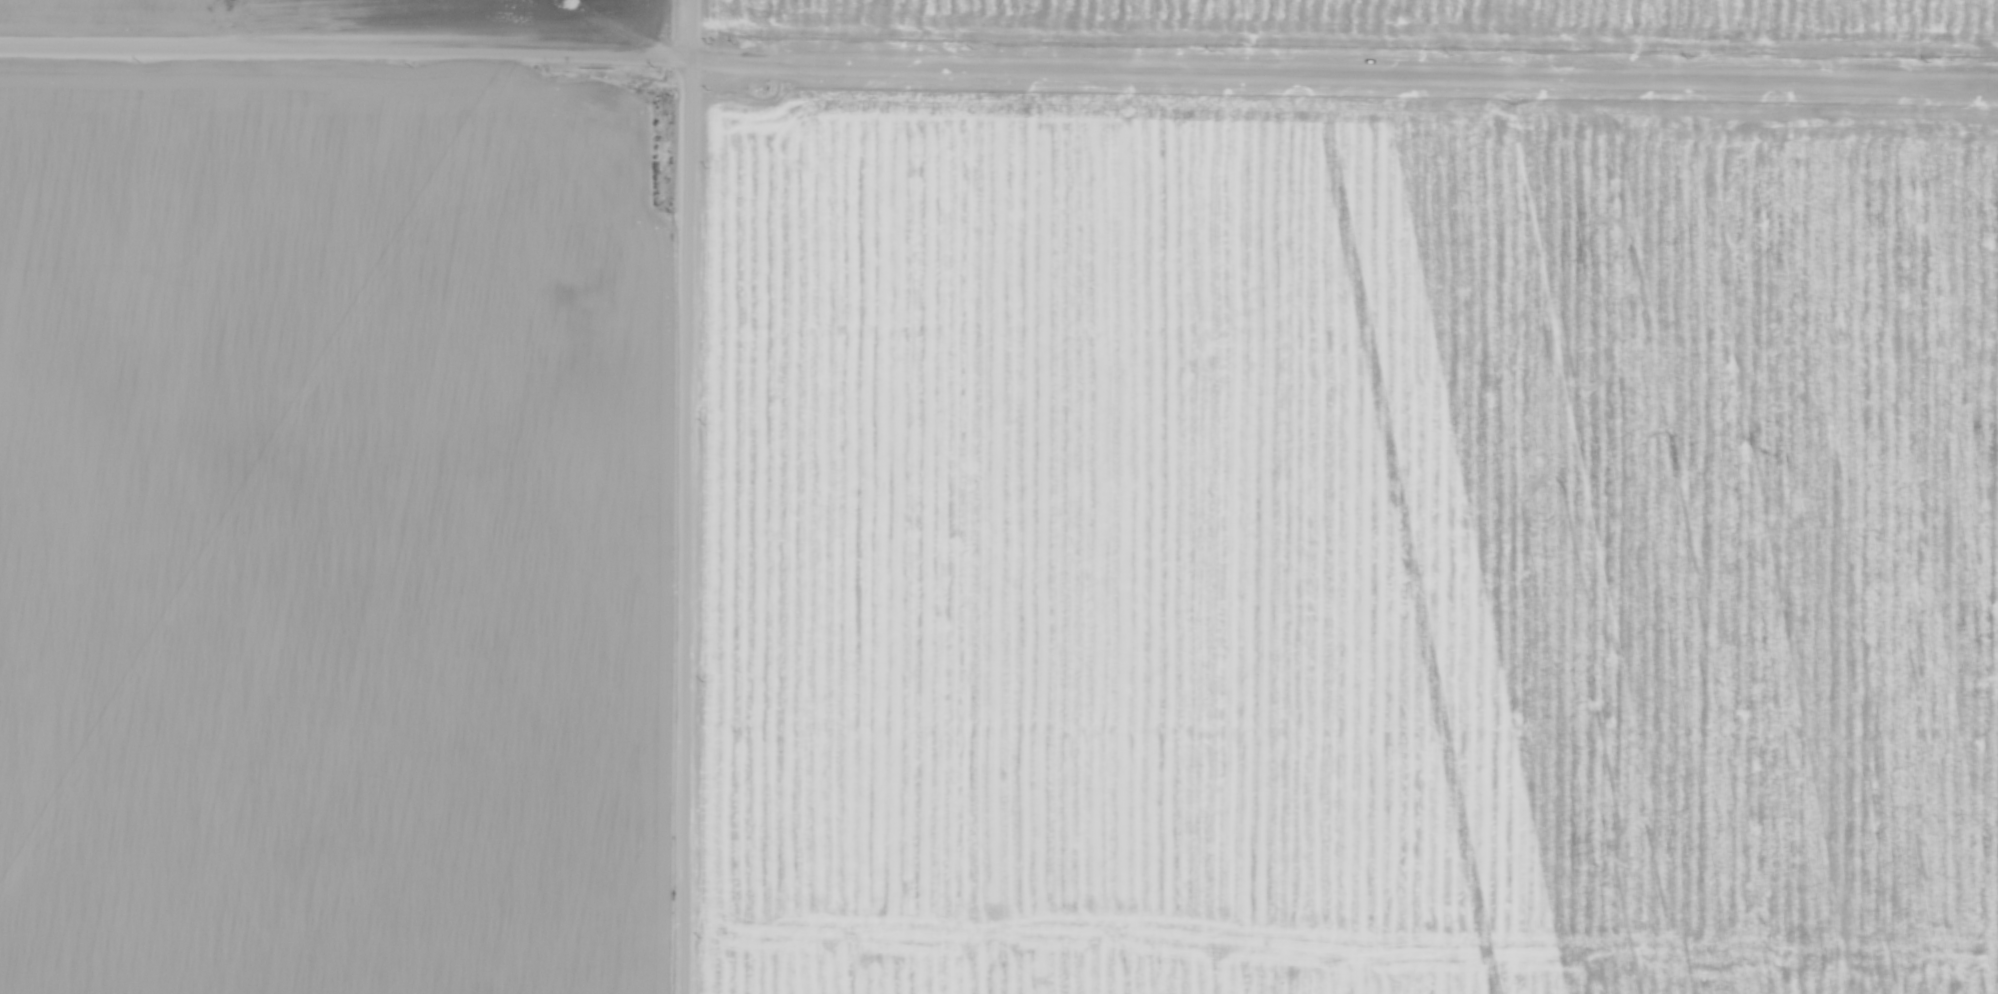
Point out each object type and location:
crop: (359, 19)
road: (1349, 26)
road: (702, 497)
crop: (340, 515)

